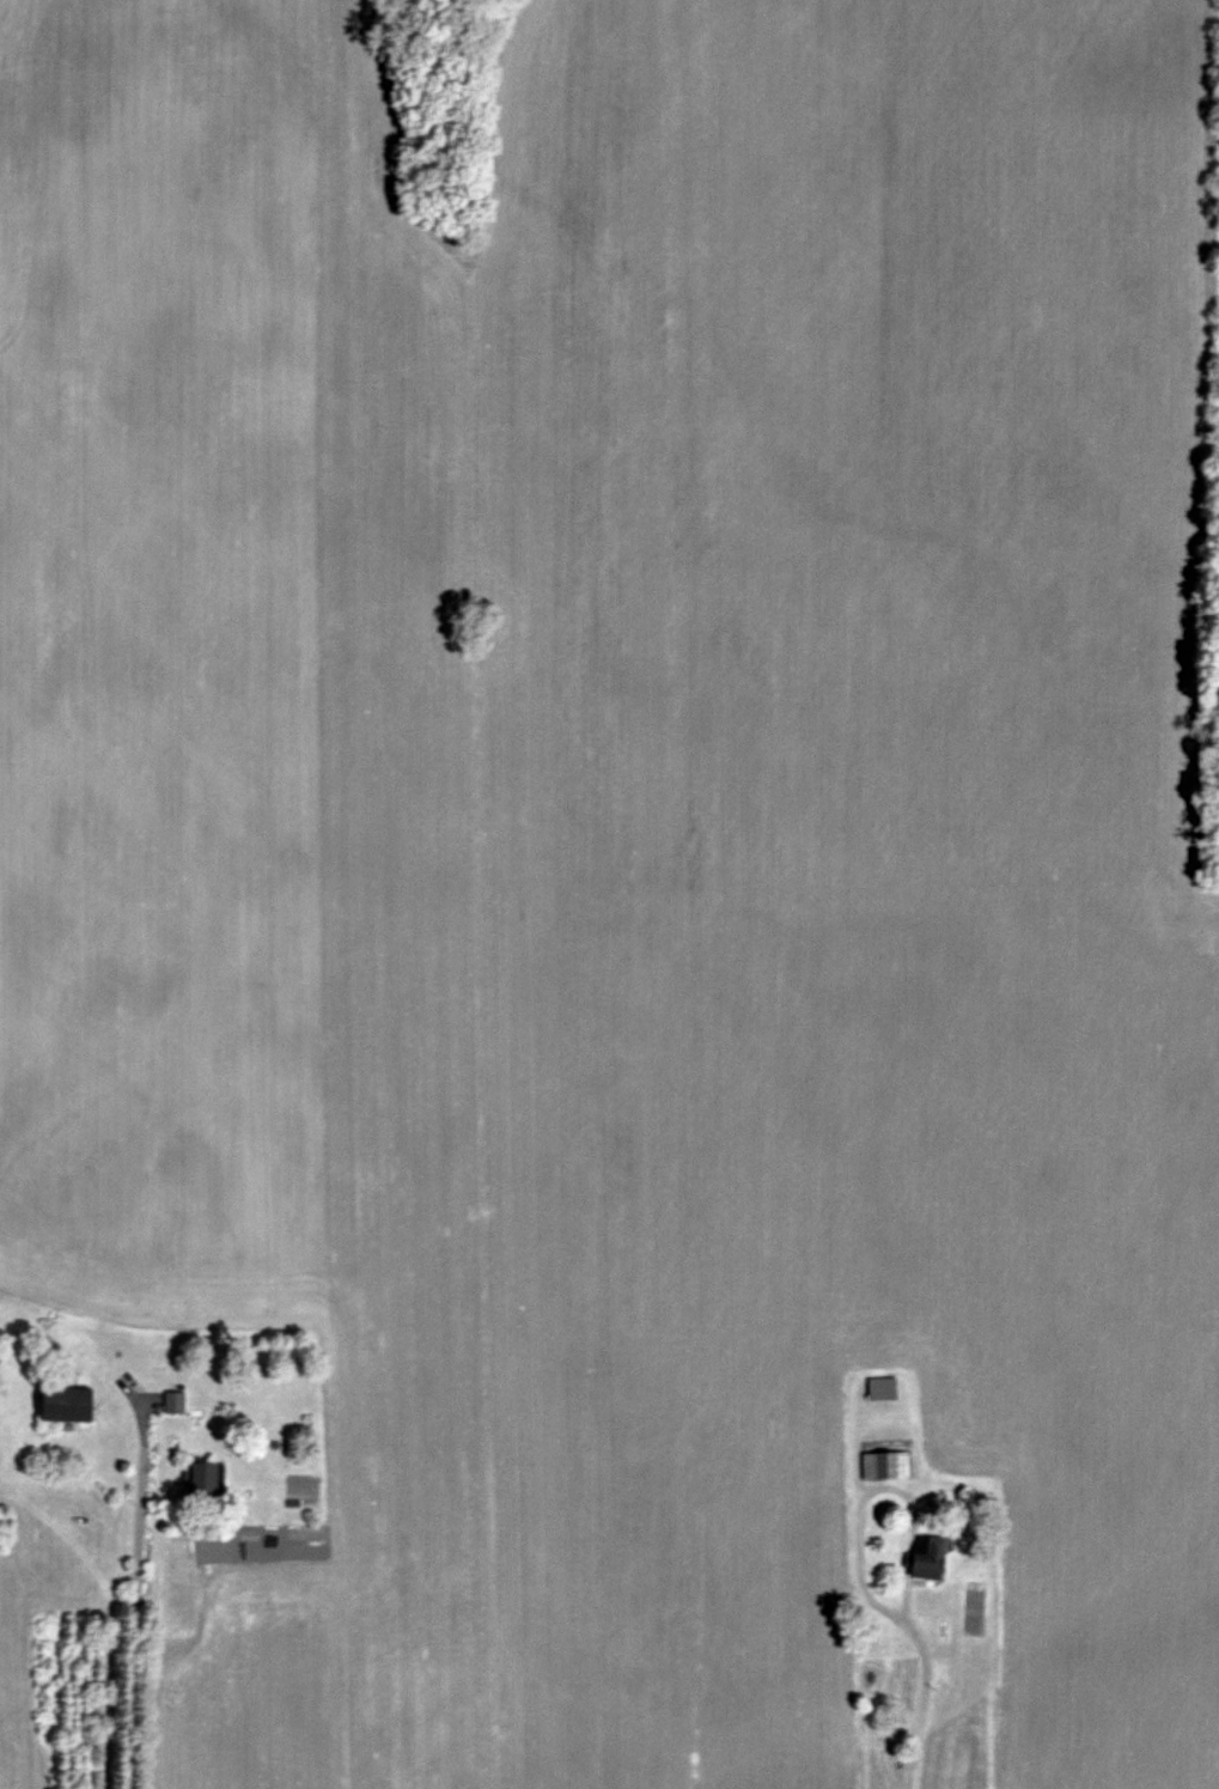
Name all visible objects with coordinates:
building: (884, 1388)
building: (176, 1400)
building: (72, 1402)
building: (888, 1464)
building: (208, 1478)
building: (932, 1557)
road: (866, 1584)
road: (138, 1601)
road: (926, 1699)

